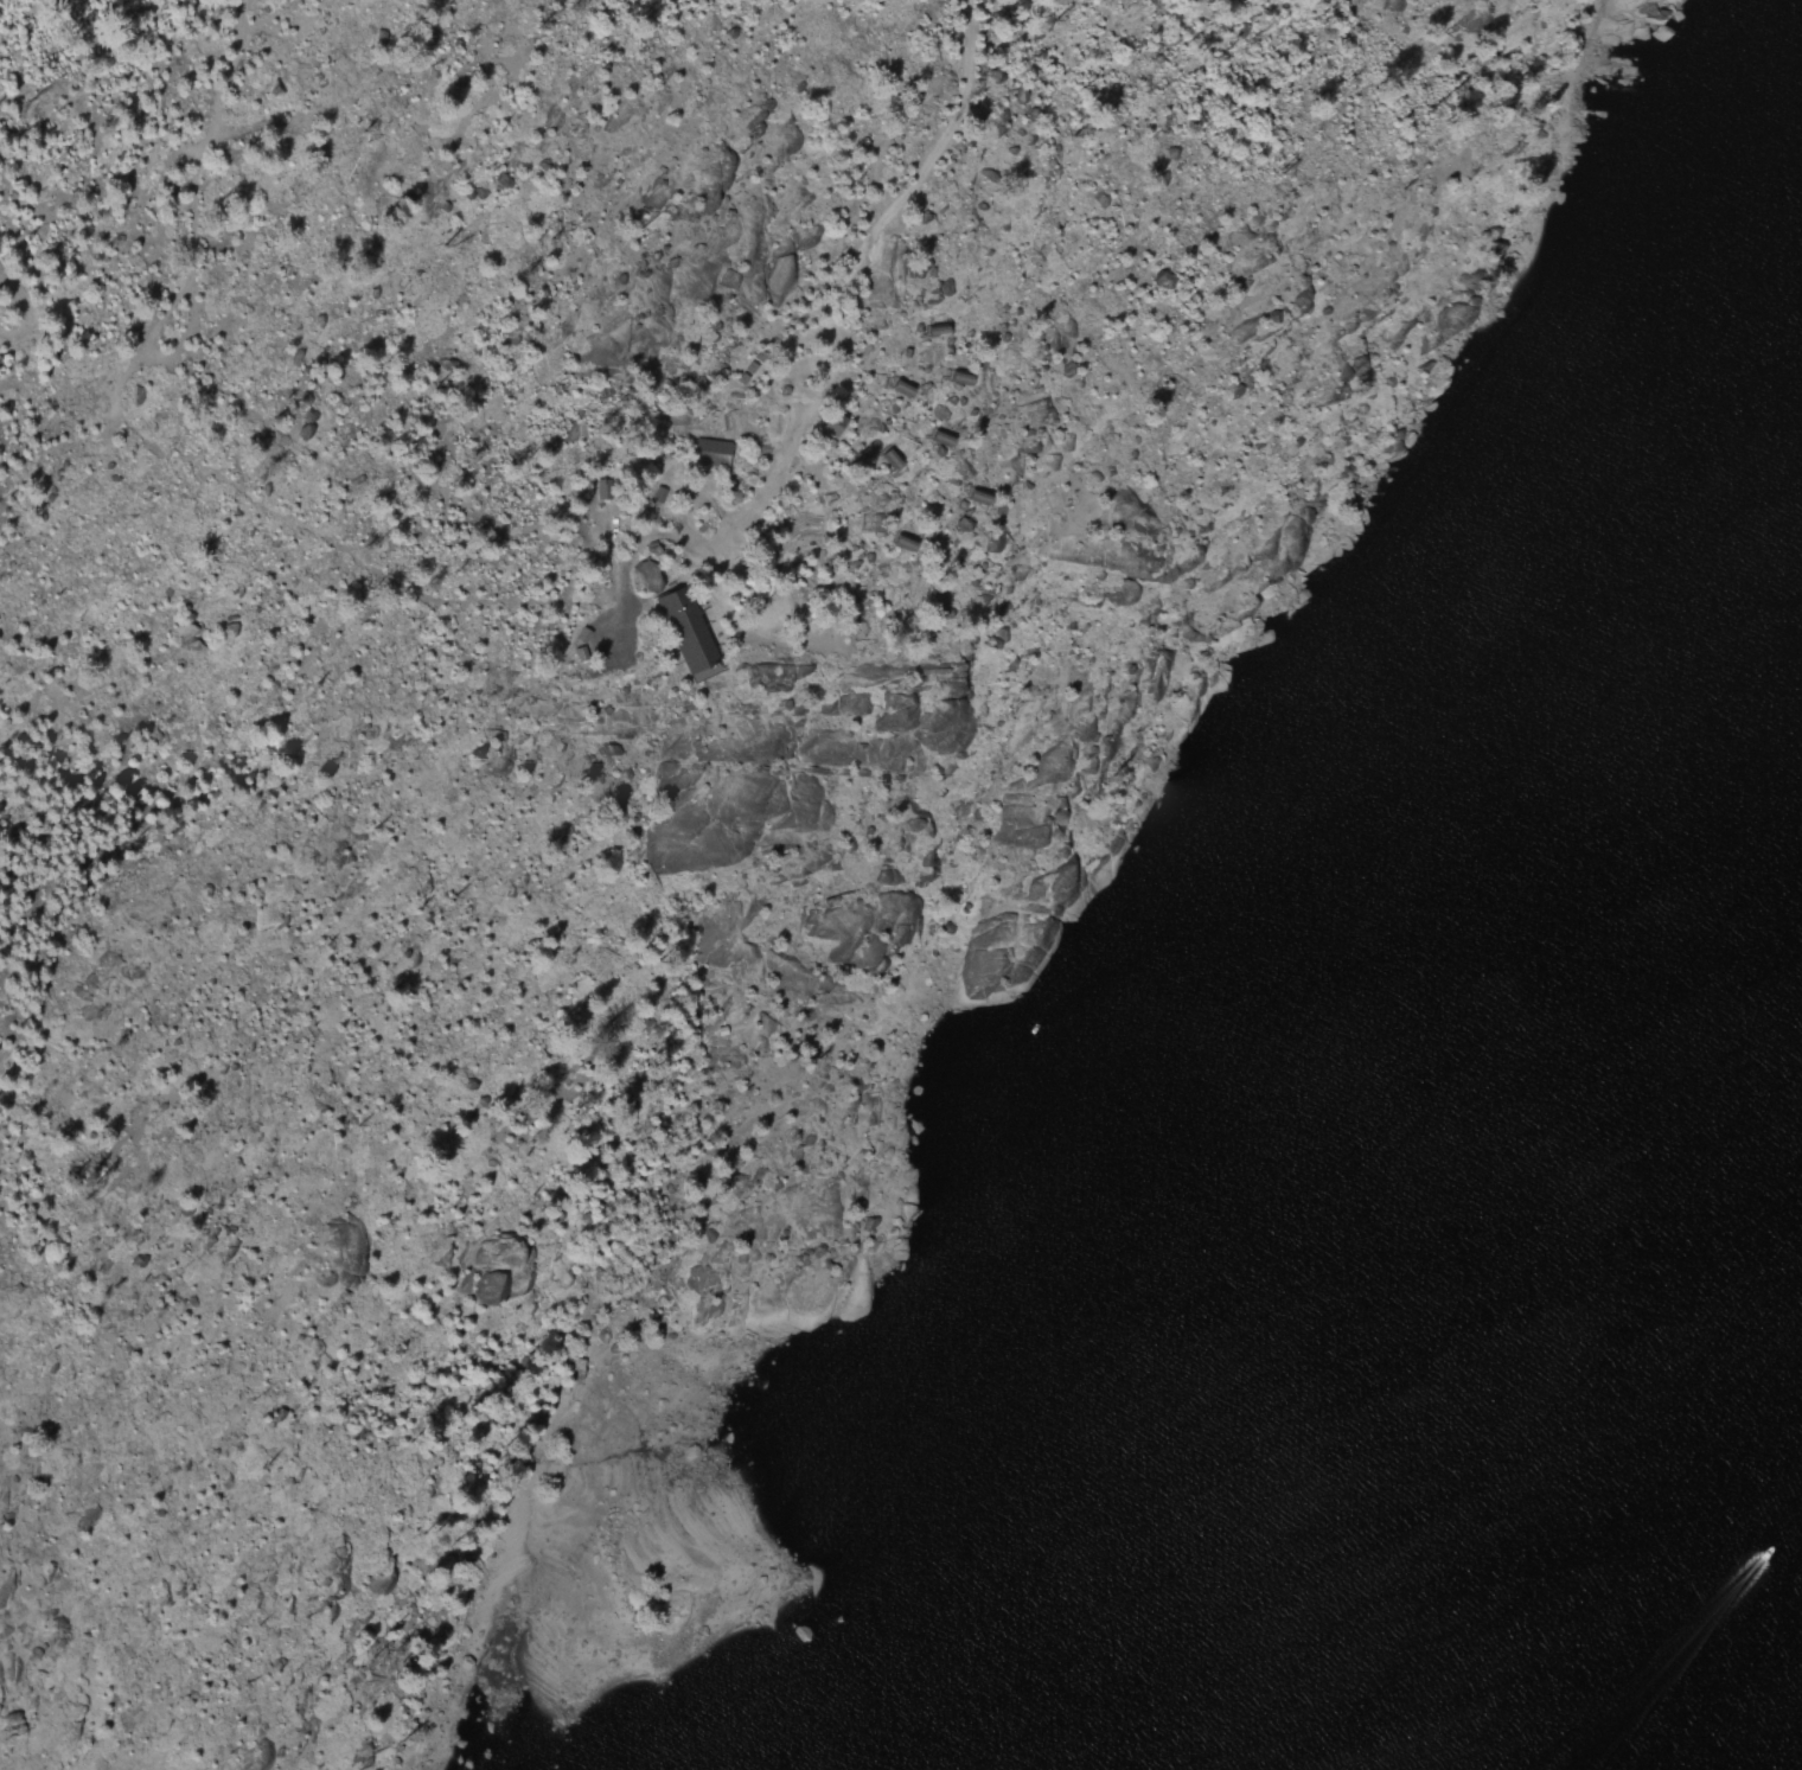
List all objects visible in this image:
road: (256, 170)
road: (842, 365)
building: (824, 423)
building: (707, 452)
building: (685, 630)

